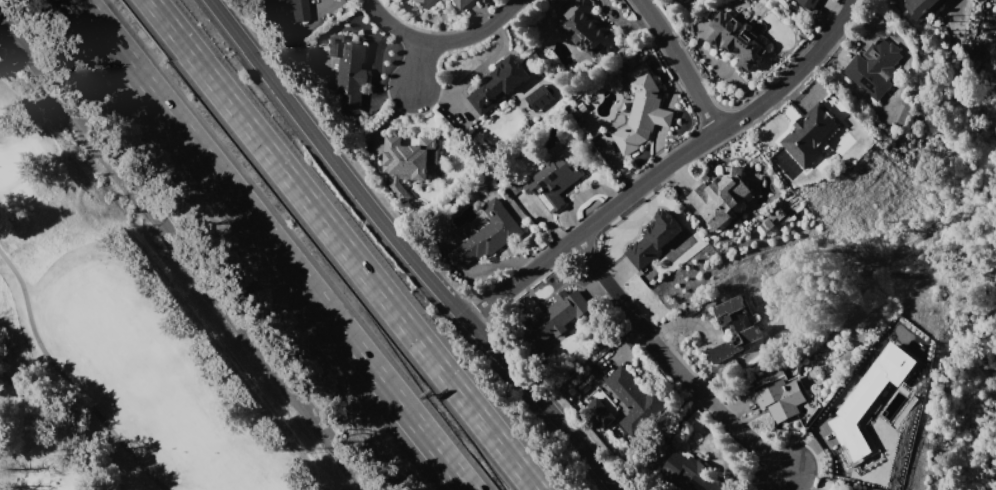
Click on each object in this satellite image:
building: (747, 0)
building: (752, 0)
building: (419, 3)
building: (461, 3)
building: (806, 4)
building: (920, 7)
building: (298, 10)
building: (586, 28)
building: (736, 40)
road: (443, 42)
road: (681, 63)
building: (873, 67)
road: (422, 69)
building: (349, 72)
building: (499, 84)
building: (540, 97)
building: (641, 111)
building: (807, 138)
power tower: (57, 157)
building: (408, 162)
park: (13, 164)
road: (666, 165)
building: (552, 182)
building: (719, 196)
building: (485, 235)
building: (653, 239)
road: (274, 245)
road: (342, 245)
road: (407, 250)
road: (177, 258)
building: (556, 315)
park: (127, 327)
building: (734, 327)
road: (673, 363)
road: (67, 378)
building: (869, 396)
building: (781, 399)
building: (635, 400)
building: (599, 411)
power tower: (286, 448)
building: (693, 473)
park: (50, 484)
building: (835, 489)
building: (837, 489)

